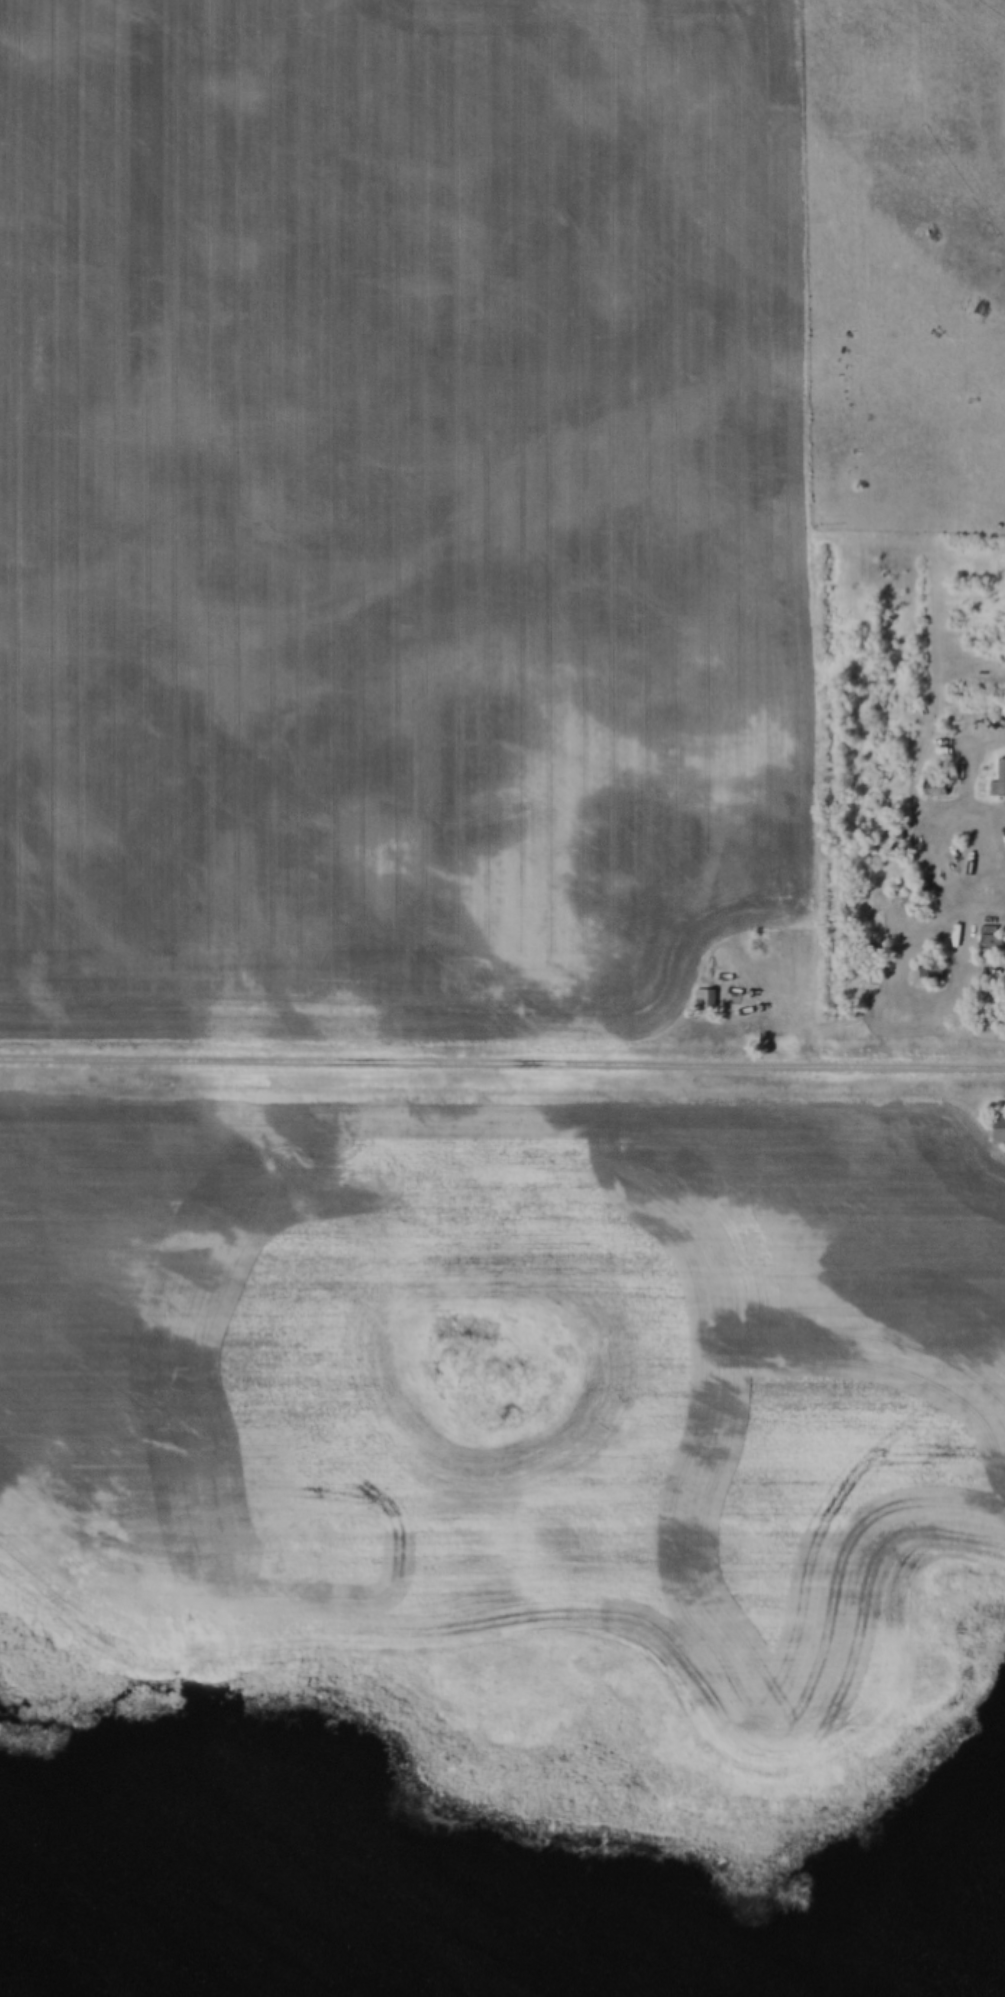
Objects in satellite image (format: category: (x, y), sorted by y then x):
building: (999, 779)
building: (935, 788)
road: (970, 942)
building: (991, 942)
building: (930, 971)
building: (706, 998)
road: (502, 1062)
building: (999, 1127)

